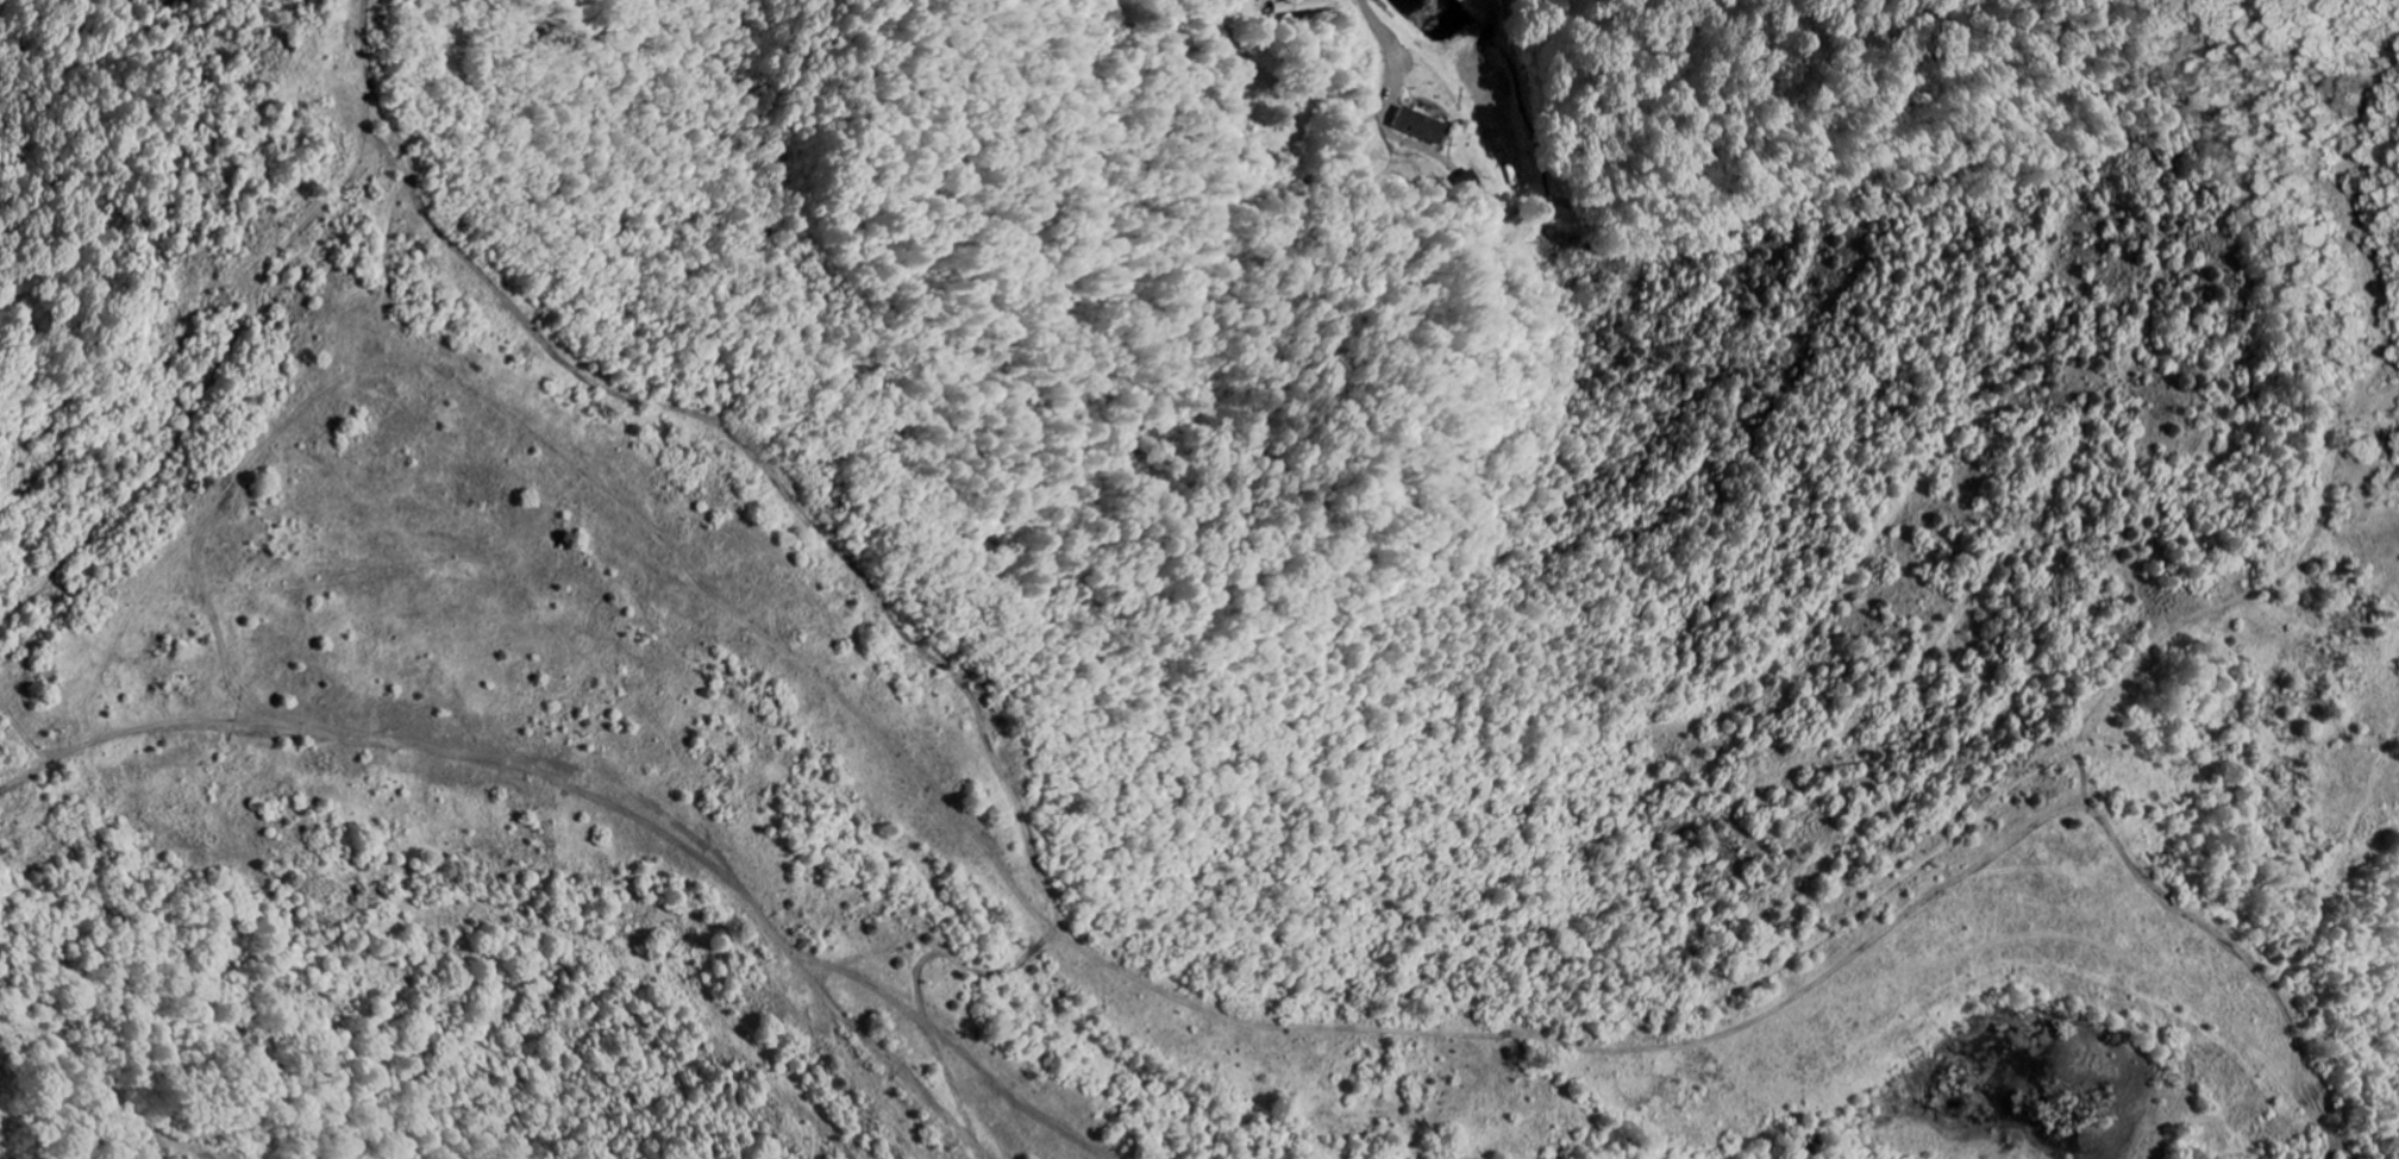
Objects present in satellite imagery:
building: (1298, 6)
road: (1222, 44)
building: (1418, 126)
building: (1471, 186)

